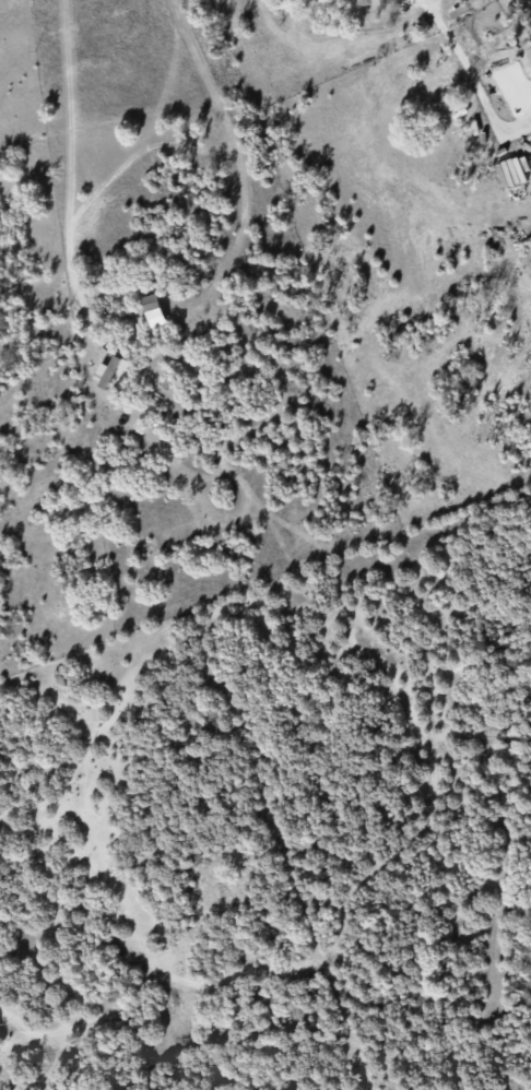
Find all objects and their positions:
road: (233, 157)
building: (152, 310)
building: (105, 371)

